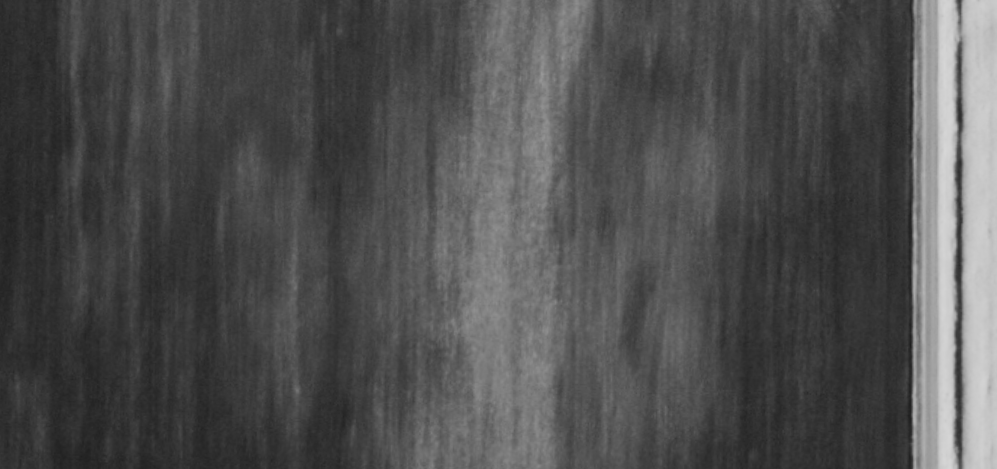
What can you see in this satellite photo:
road: (930, 234)

